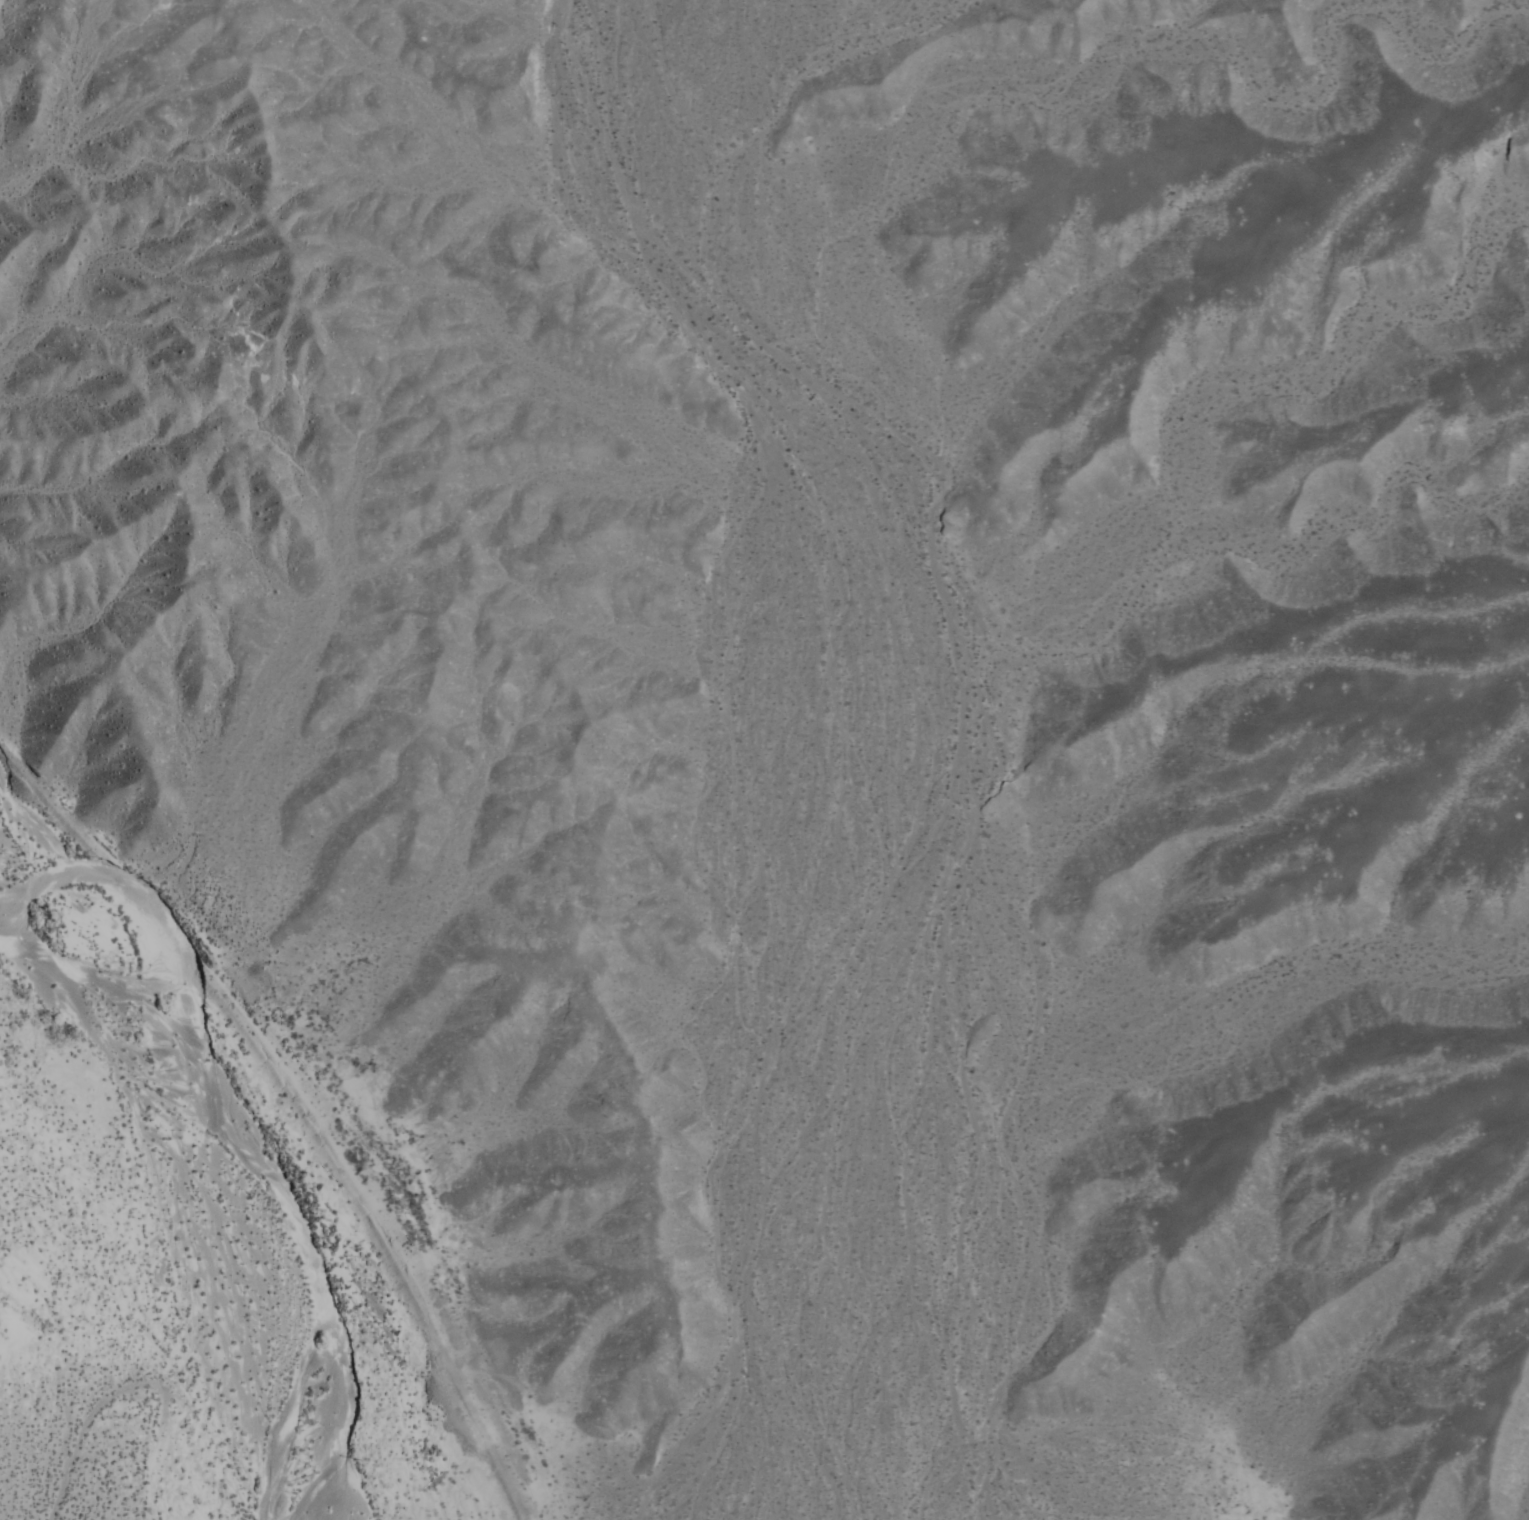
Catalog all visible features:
road: (915, 828)
river: (232, 1182)

